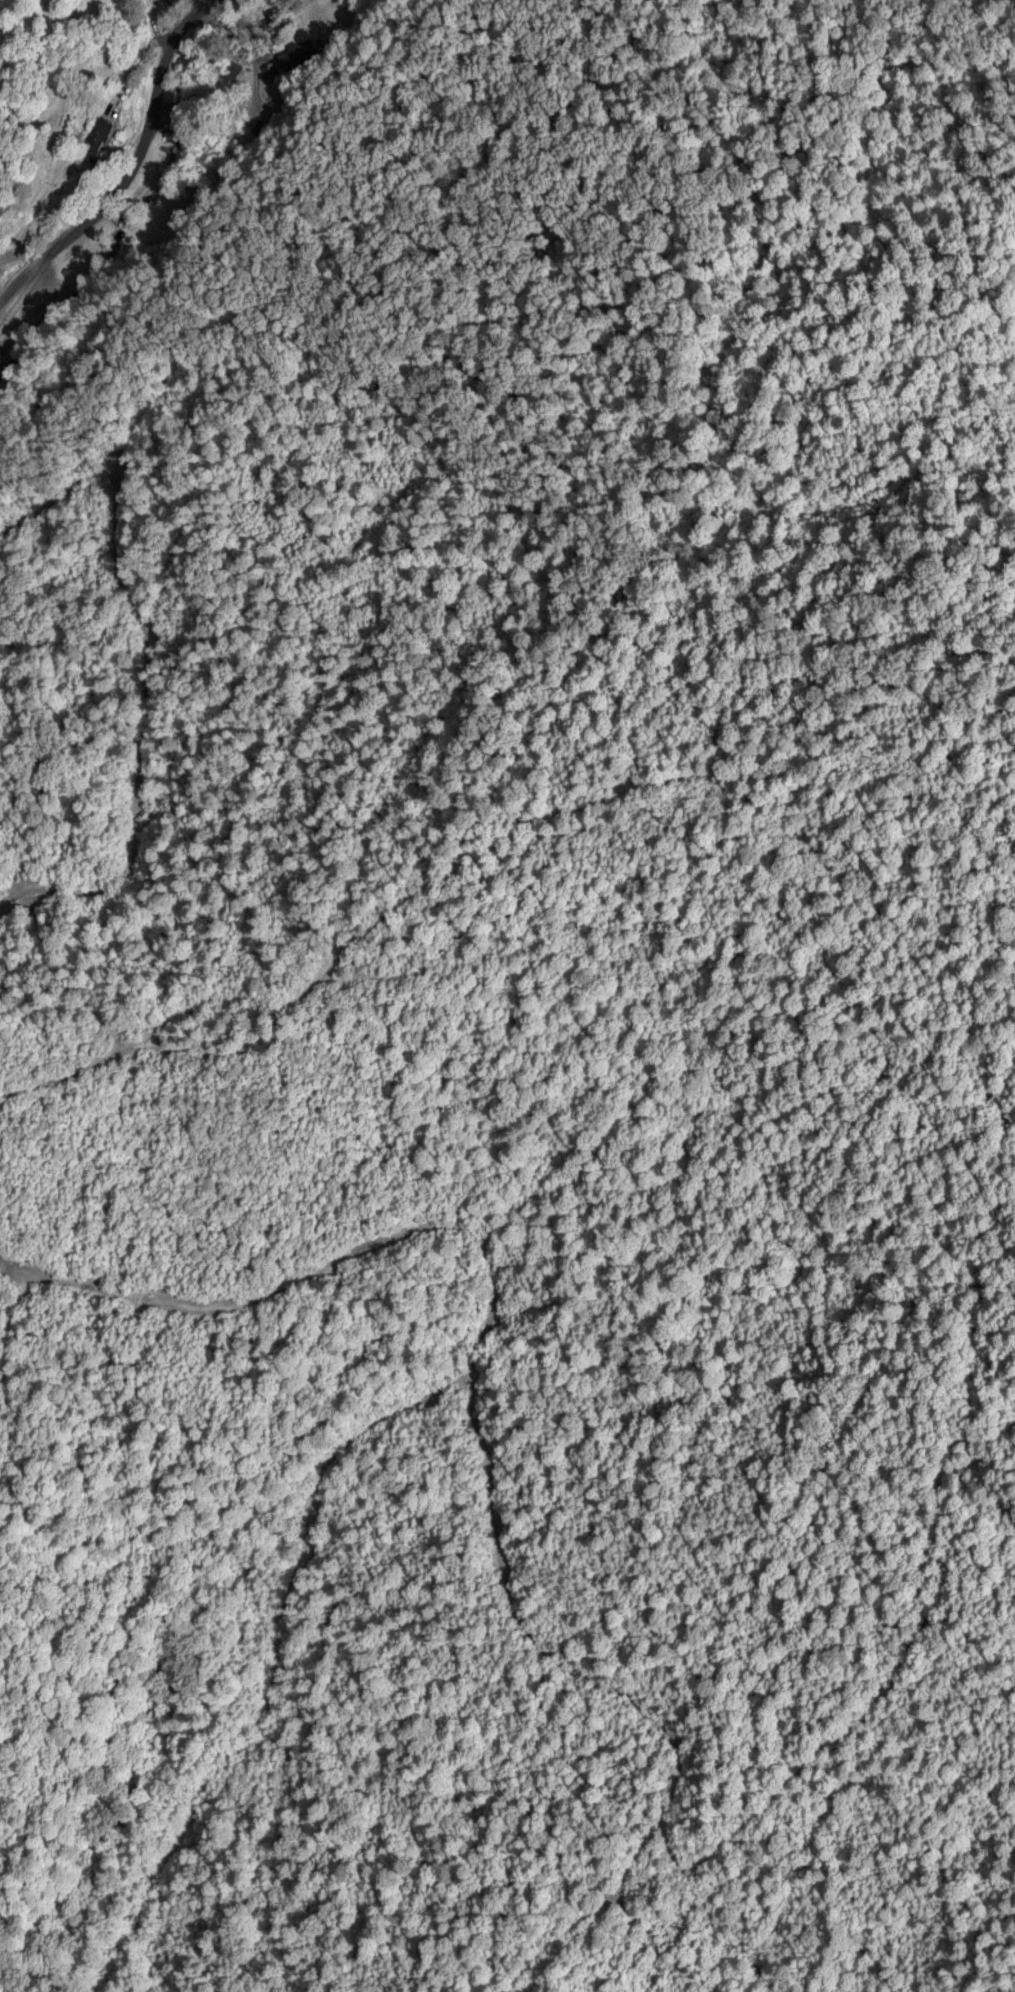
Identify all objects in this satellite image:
road: (64, 107)
road: (134, 165)
road: (17, 261)

